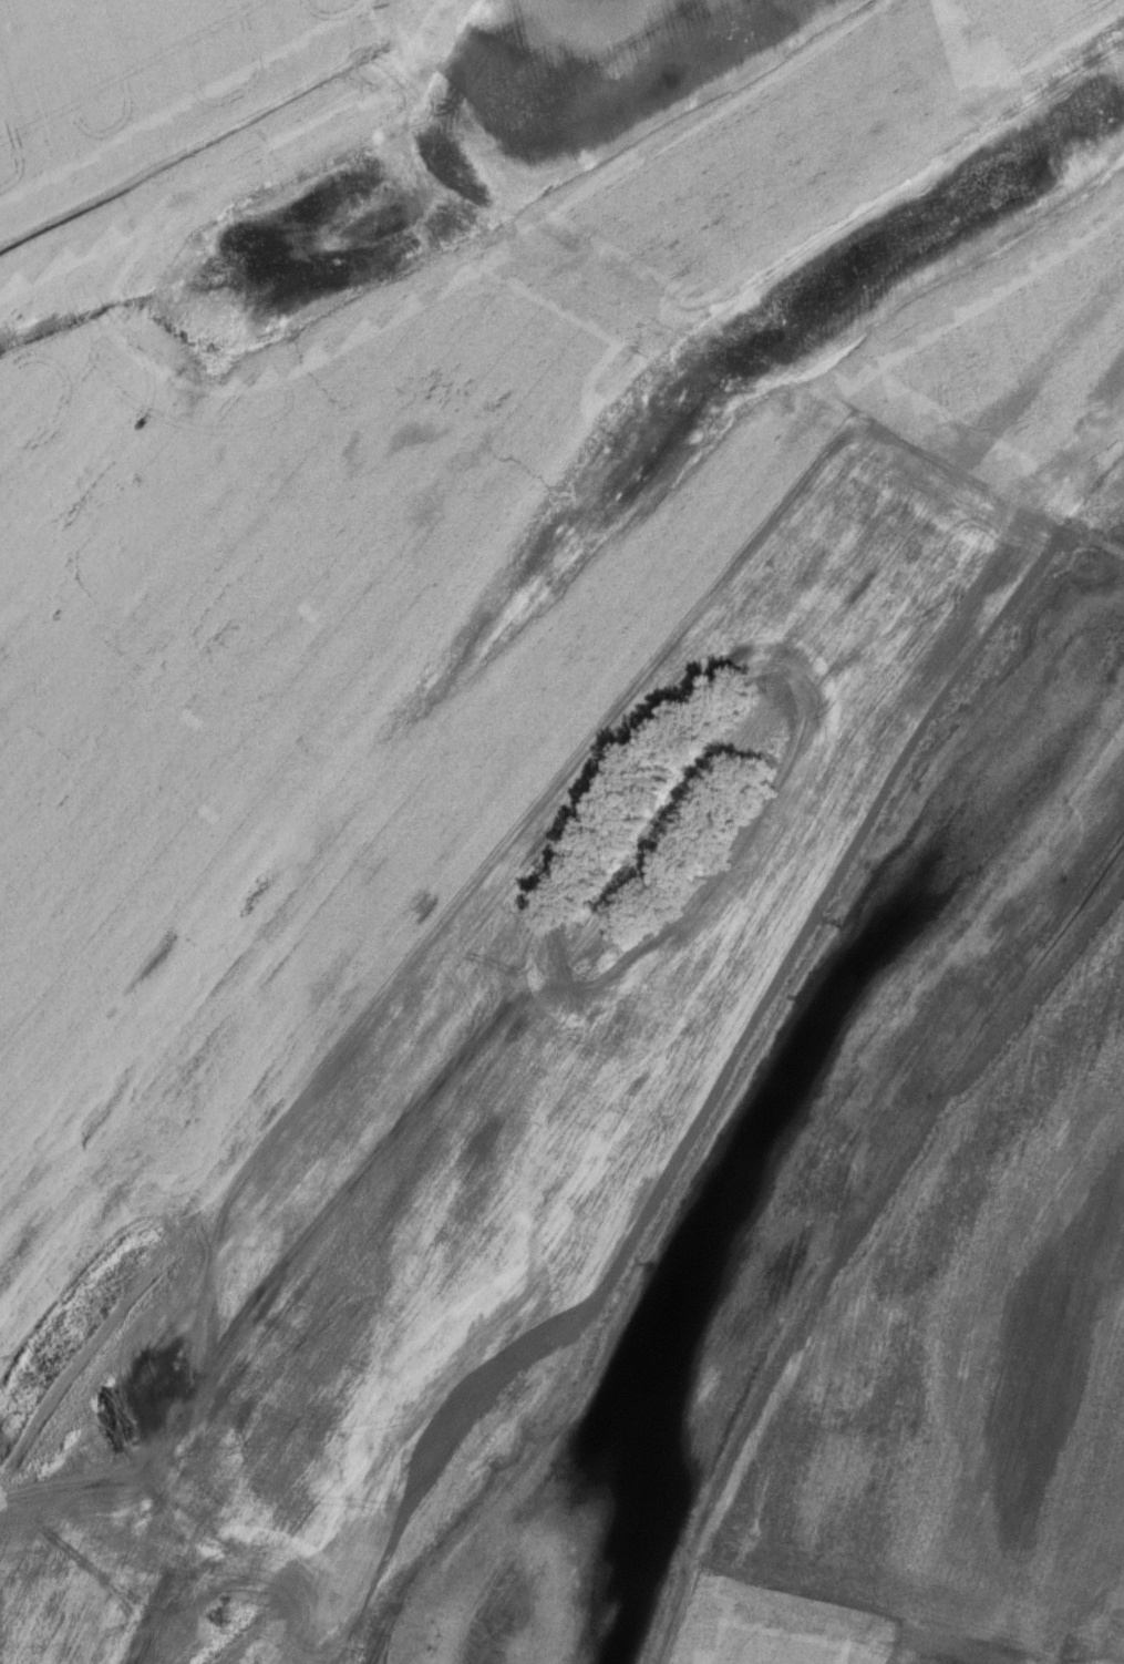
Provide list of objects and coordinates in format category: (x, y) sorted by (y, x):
road: (190, 140)
road: (694, 318)
crop: (566, 825)
road: (75, 1477)

